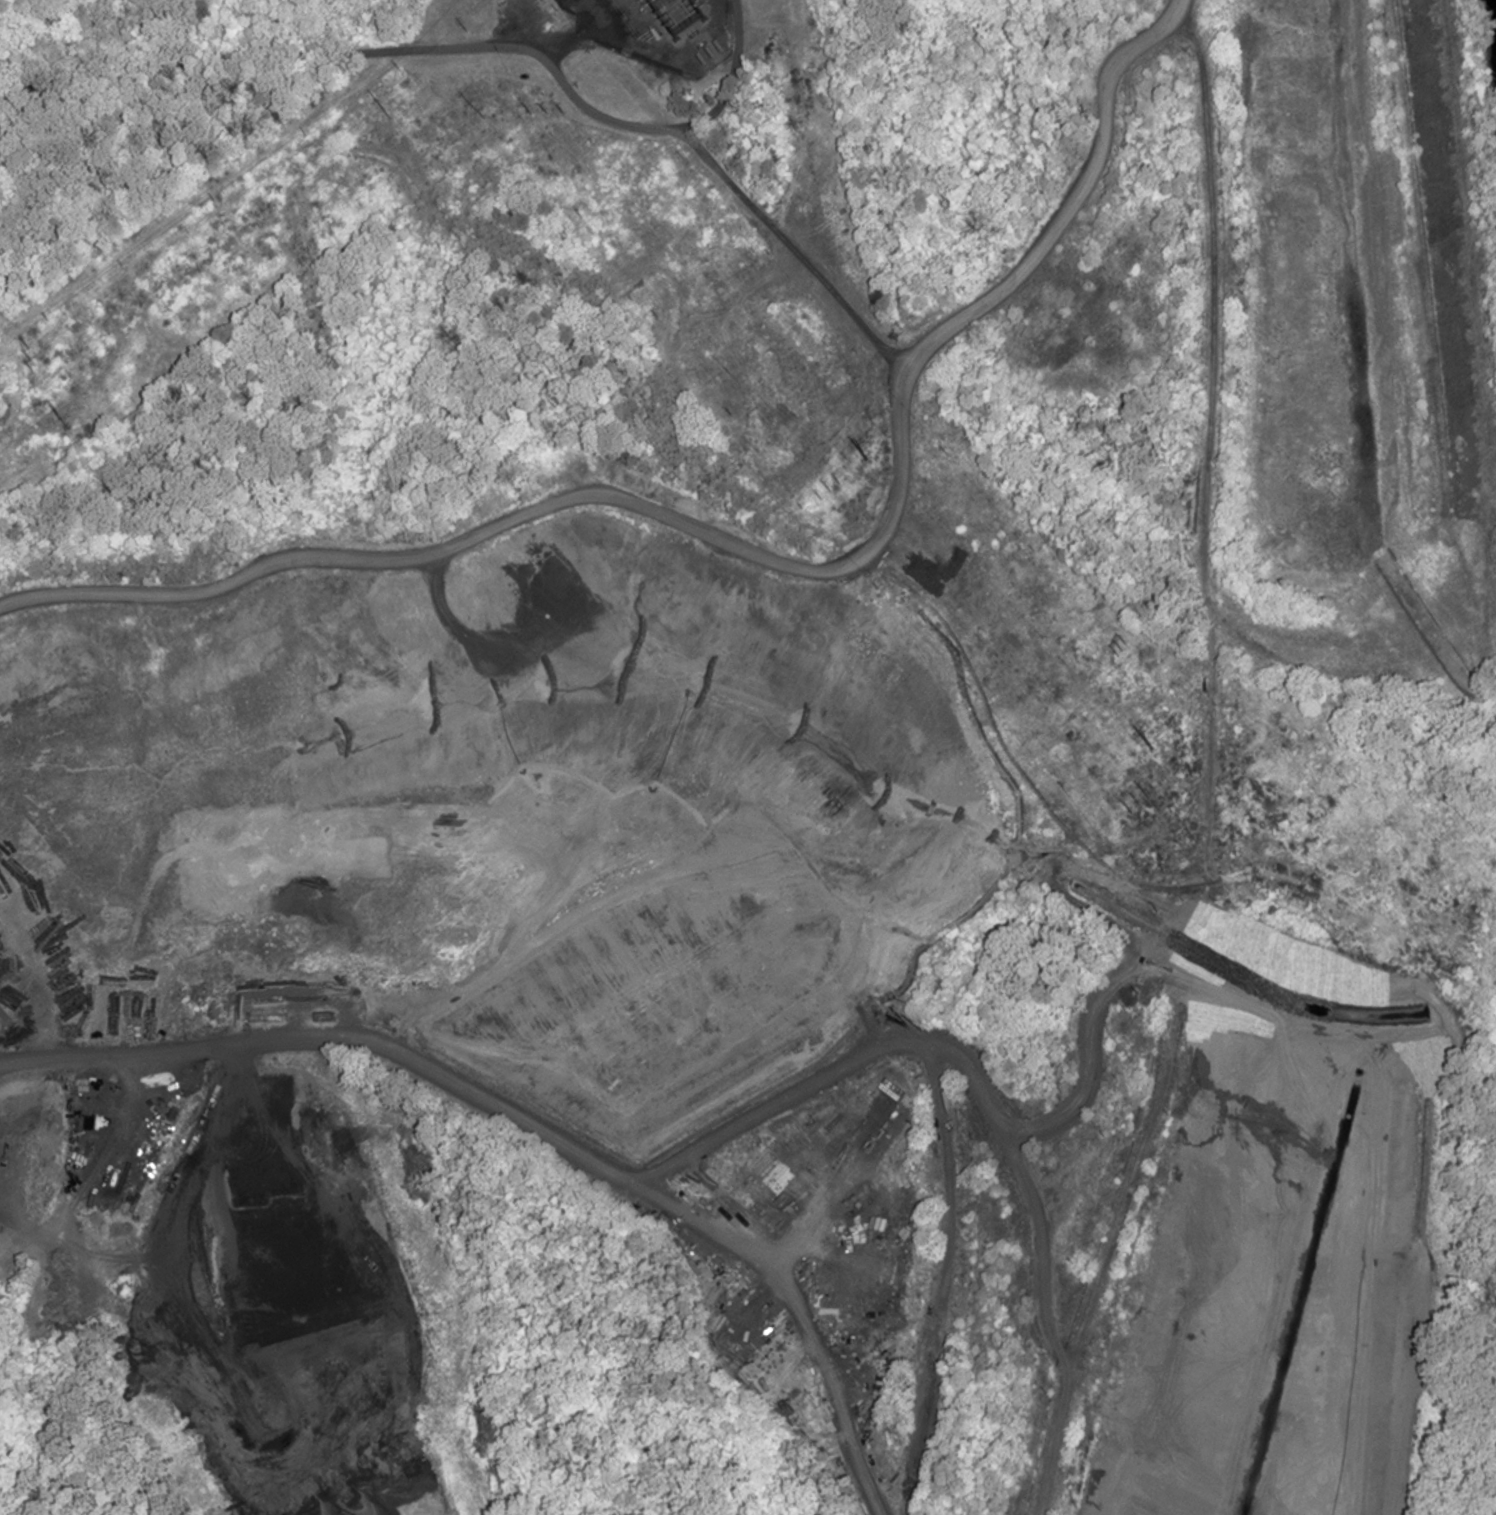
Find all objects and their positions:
power substation: (657, 30)
power tower: (467, 32)
road: (518, 48)
road: (734, 77)
power tower: (383, 108)
power tower: (477, 111)
power tower: (548, 113)
road: (1072, 200)
power tower: (30, 359)
power tower: (60, 418)
road: (1207, 455)
power tower: (866, 459)
power tower: (830, 491)
road: (528, 498)
power tower: (1151, 748)
power tower: (1139, 804)
road: (1107, 920)
road: (27, 986)
road: (1089, 1045)
road: (713, 1139)
road: (1136, 1175)
road: (944, 1279)
road: (805, 1310)

